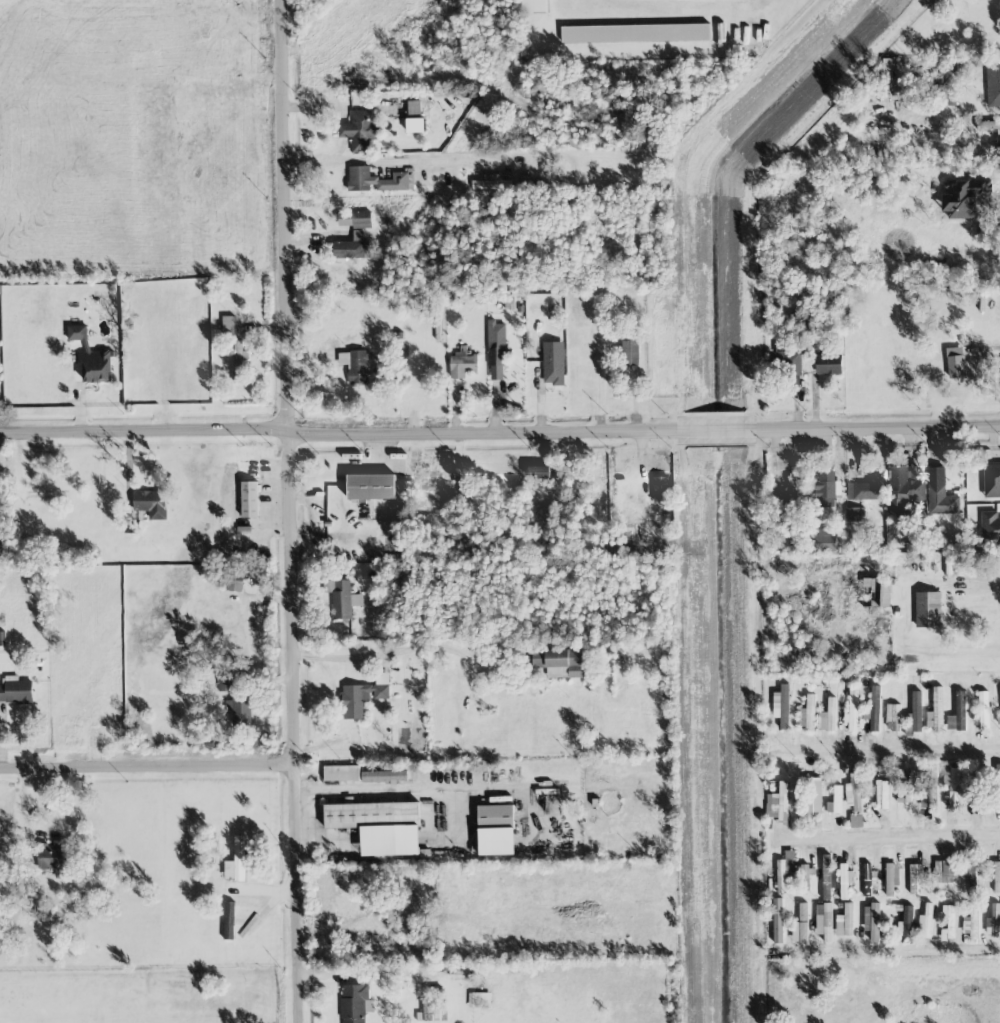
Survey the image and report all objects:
building: (534, 6)
building: (635, 33)
building: (889, 68)
building: (993, 87)
building: (416, 126)
building: (989, 126)
building: (360, 130)
road: (385, 165)
building: (375, 181)
building: (491, 183)
building: (963, 198)
building: (354, 219)
building: (353, 247)
building: (228, 325)
building: (496, 351)
building: (92, 357)
building: (239, 361)
building: (955, 362)
building: (553, 363)
building: (790, 364)
building: (354, 365)
building: (829, 365)
building: (462, 366)
road: (880, 430)
road: (717, 432)
road: (337, 438)
building: (538, 472)
building: (992, 480)
building: (371, 487)
building: (826, 489)
building: (866, 489)
building: (904, 490)
building: (661, 493)
building: (939, 493)
building: (792, 494)
building: (249, 500)
building: (149, 504)
road: (292, 511)
building: (854, 515)
building: (132, 527)
building: (990, 527)
building: (825, 540)
building: (957, 567)
road: (978, 585)
building: (875, 592)
building: (342, 598)
building: (928, 610)
road: (388, 650)
building: (557, 663)
building: (224, 681)
building: (15, 690)
building: (363, 696)
building: (781, 706)
building: (239, 709)
building: (874, 710)
building: (936, 711)
building: (984, 711)
building: (807, 713)
building: (852, 713)
building: (915, 714)
building: (958, 714)
building: (828, 716)
building: (893, 718)
building: (998, 718)
road: (890, 748)
road: (147, 769)
building: (341, 773)
building: (384, 776)
building: (951, 784)
building: (904, 786)
building: (931, 786)
building: (998, 786)
road: (404, 789)
building: (853, 793)
building: (882, 794)
building: (812, 796)
building: (835, 801)
building: (777, 804)
building: (856, 821)
building: (379, 826)
building: (496, 830)
road: (323, 832)
road: (886, 834)
building: (53, 859)
building: (236, 861)
building: (784, 871)
building: (946, 871)
building: (971, 872)
building: (869, 876)
building: (826, 877)
building: (915, 877)
building: (891, 878)
building: (845, 881)
building: (803, 912)
building: (229, 920)
building: (778, 921)
building: (845, 921)
building: (872, 921)
building: (907, 921)
building: (994, 921)
building: (926, 922)
building: (948, 923)
building: (971, 923)
building: (799, 932)
road: (892, 950)
building: (479, 1000)
building: (354, 1003)
building: (434, 1005)

